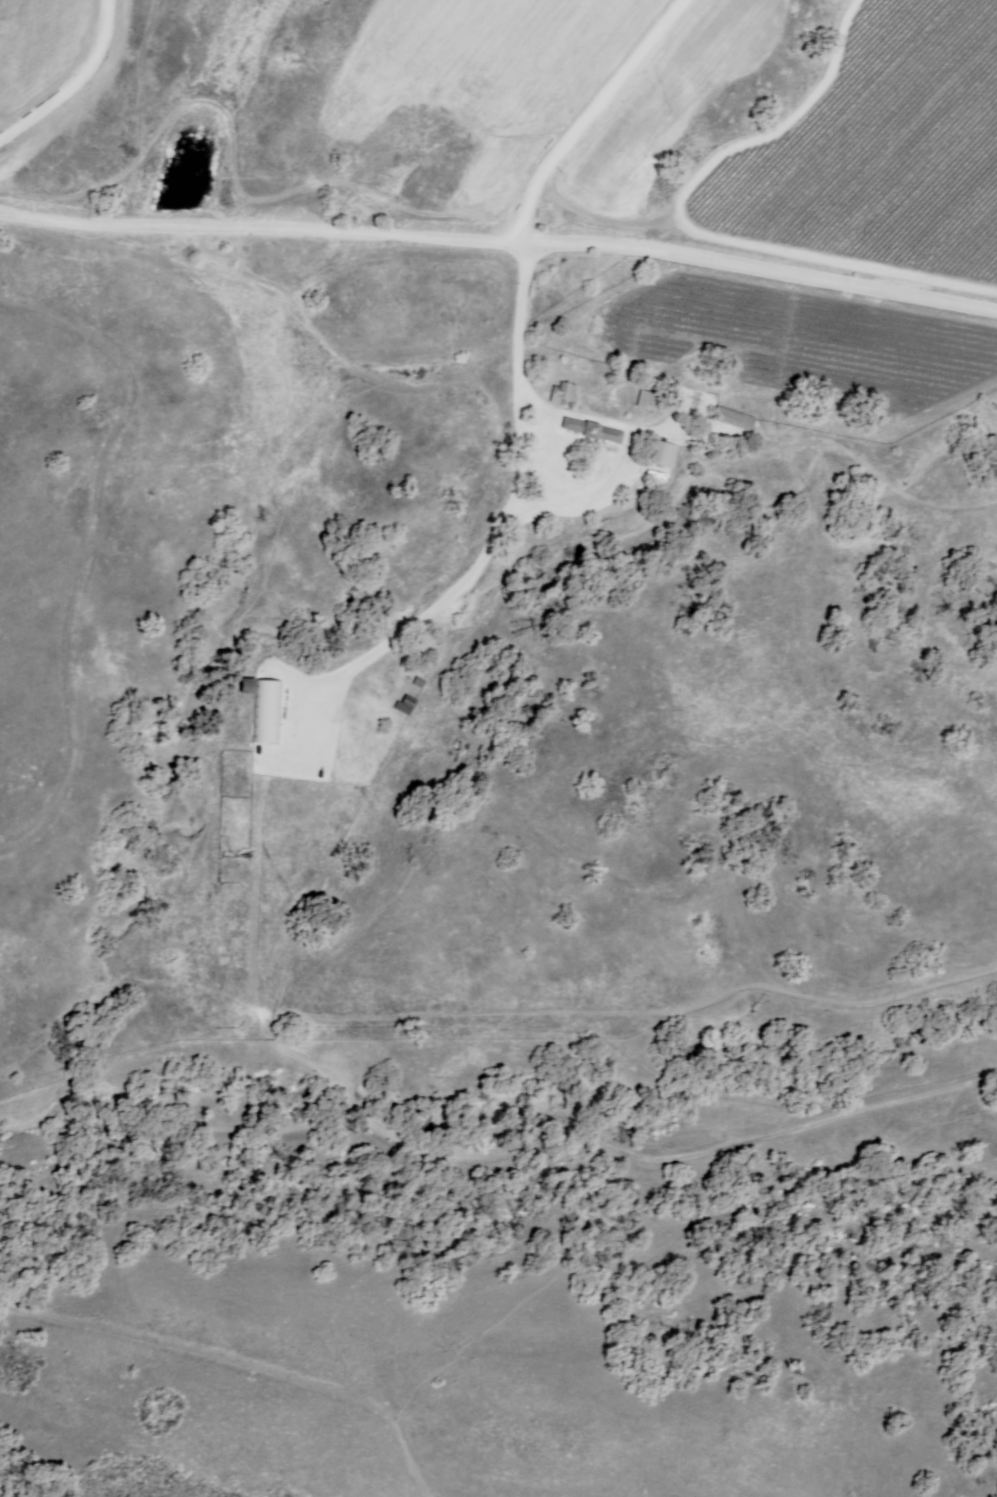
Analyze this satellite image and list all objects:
road: (500, 240)
building: (563, 391)
building: (646, 398)
building: (732, 416)
building: (591, 428)
building: (610, 444)
building: (658, 450)
building: (404, 703)
building: (264, 705)
road: (254, 837)

